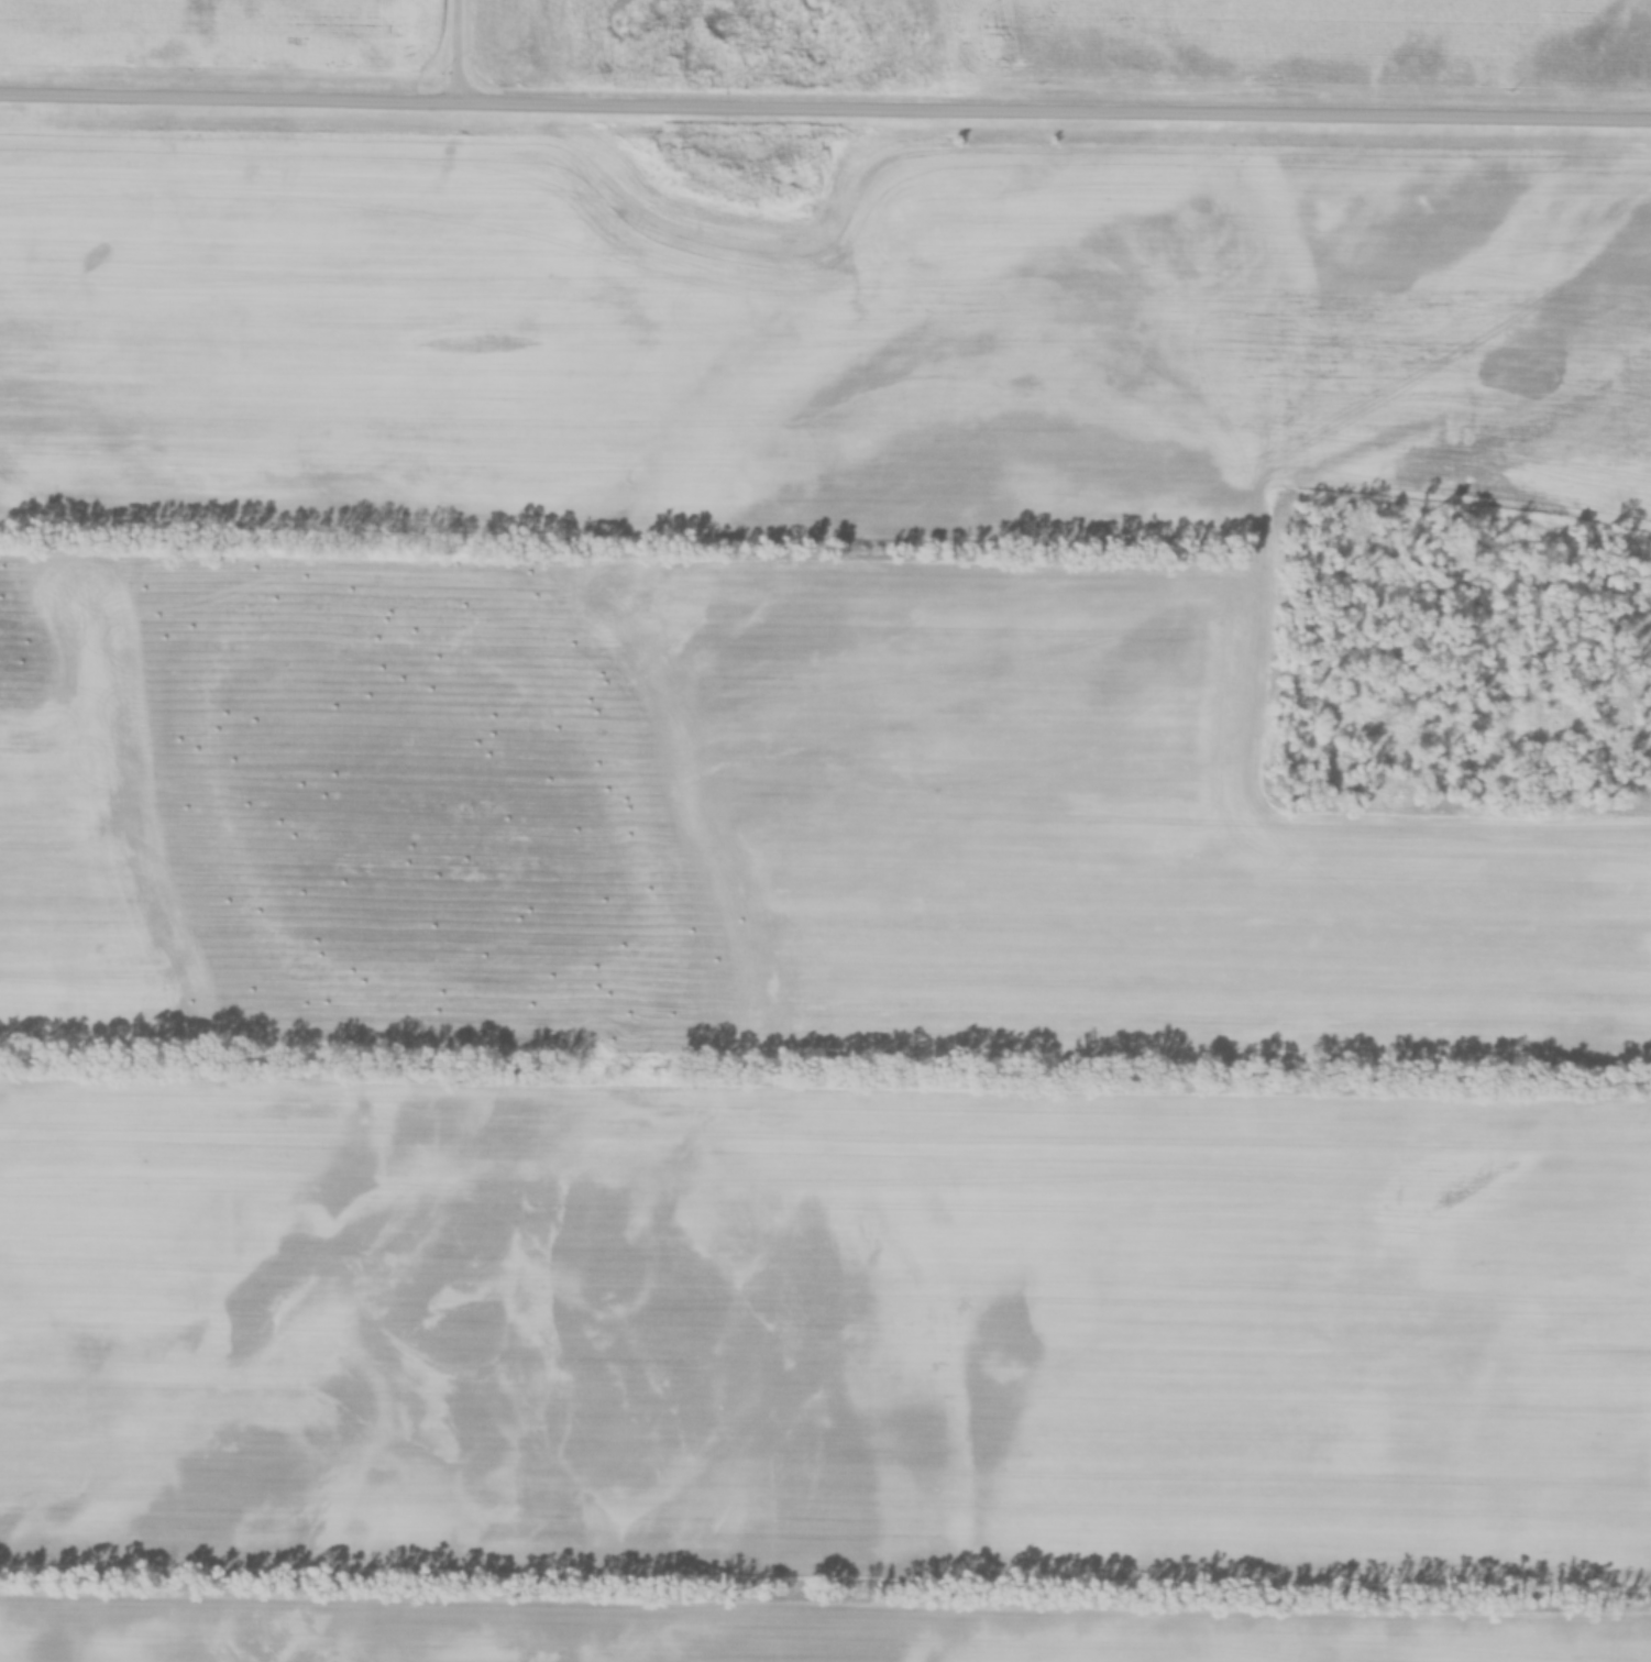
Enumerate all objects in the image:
road: (443, 53)
road: (825, 113)

